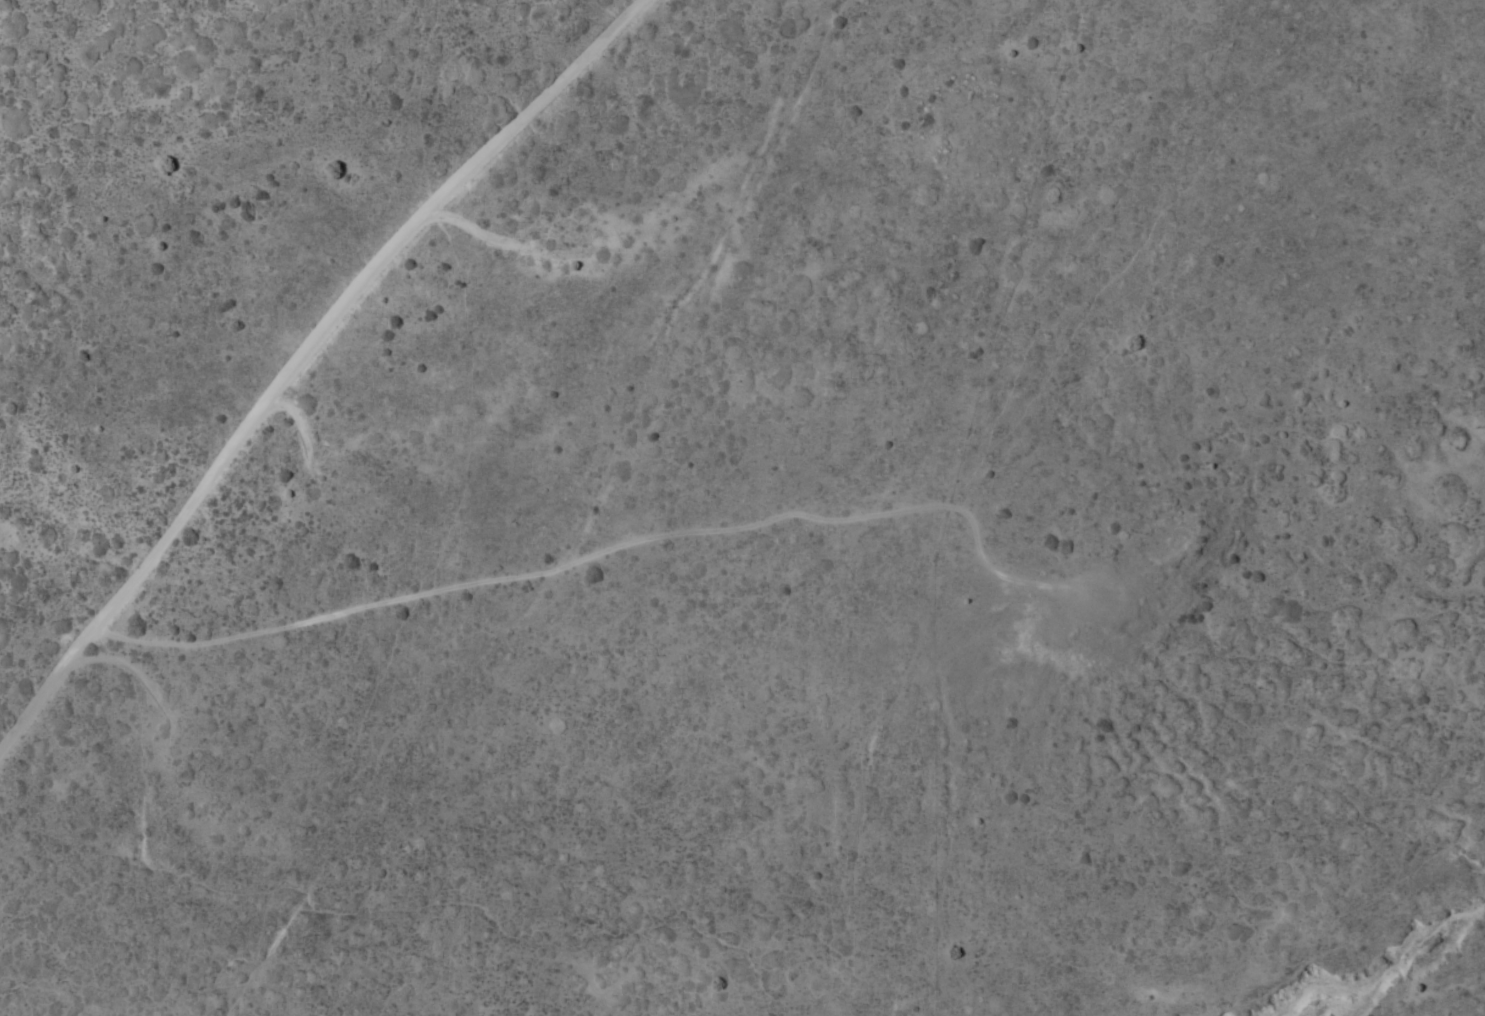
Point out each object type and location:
road: (300, 357)

